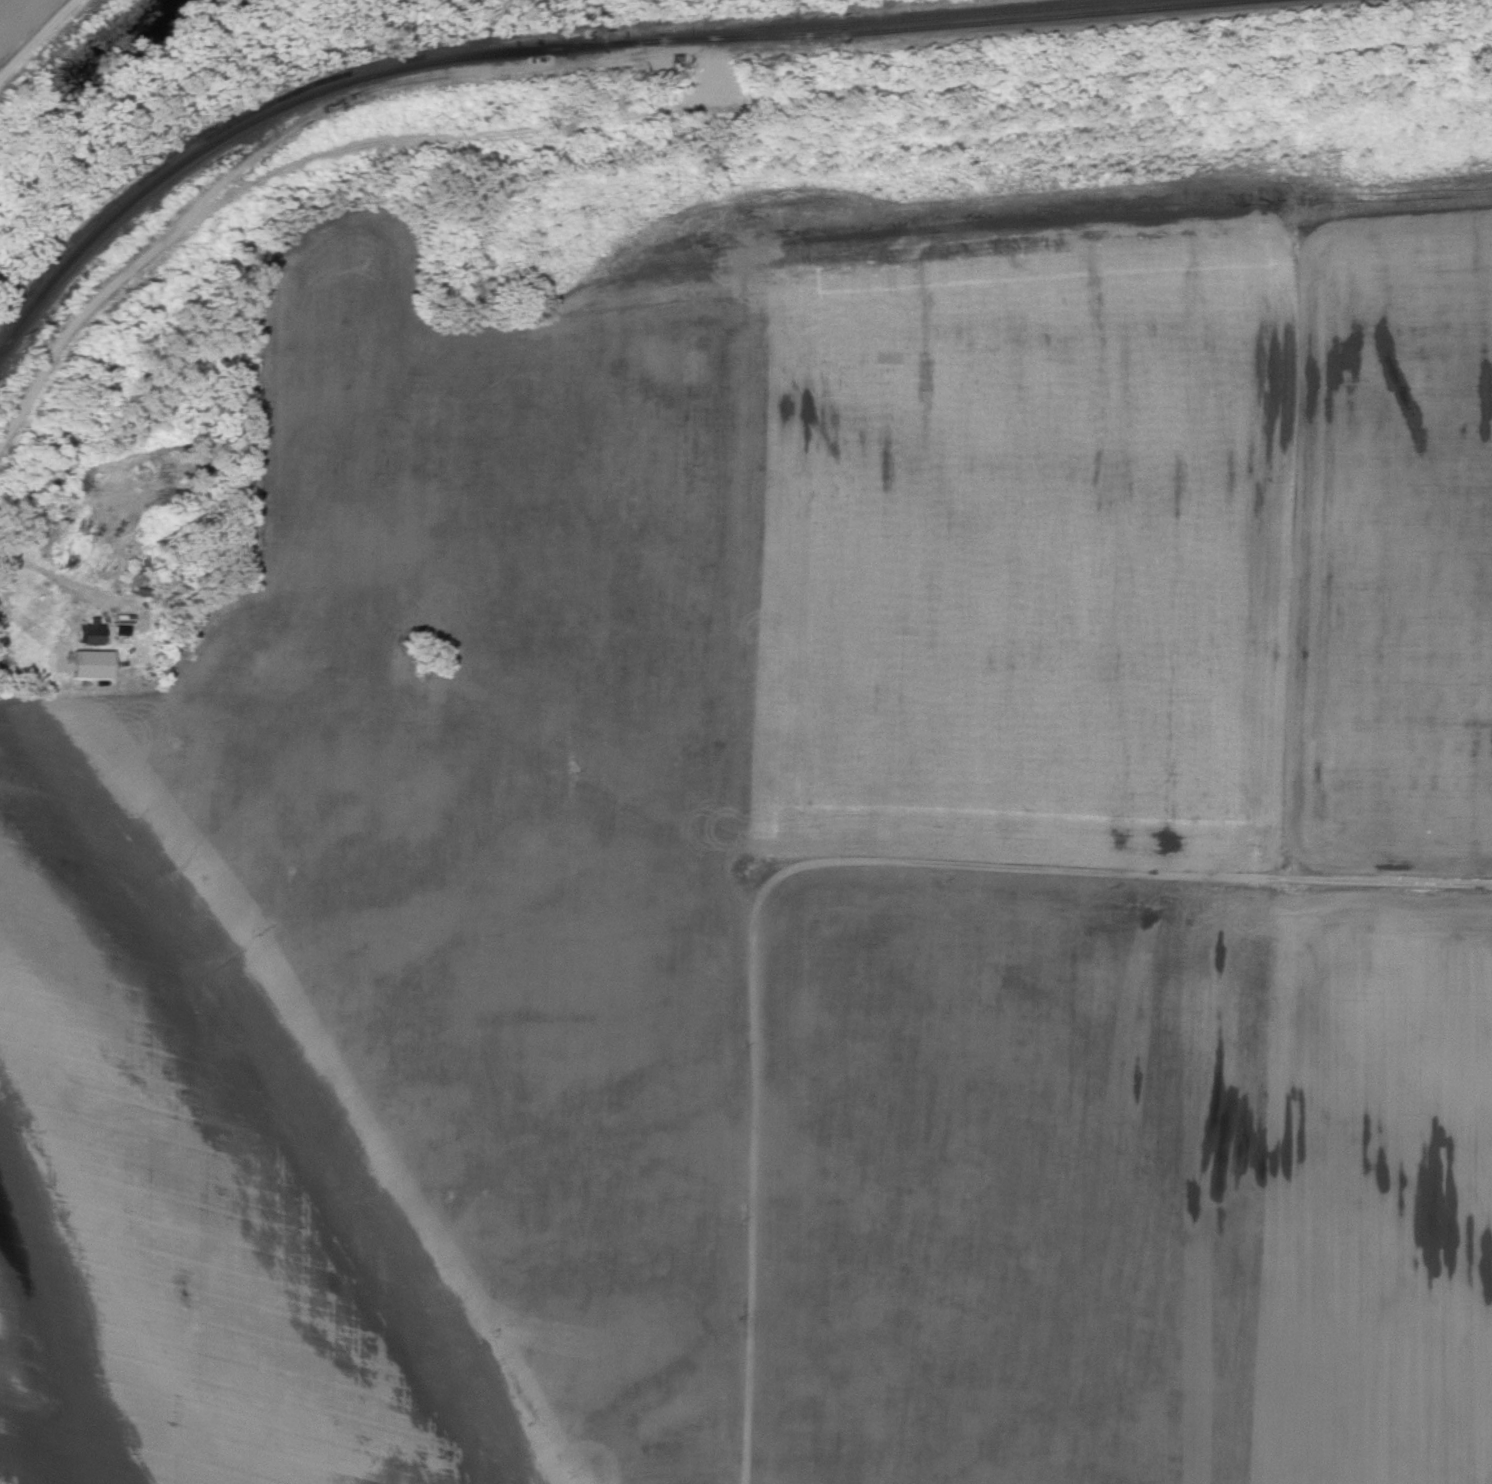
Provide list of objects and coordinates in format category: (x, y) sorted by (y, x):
railway: (863, 22)
railway: (916, 26)
road: (38, 36)
railway: (256, 113)
building: (90, 631)
road: (1345, 884)
road: (742, 956)

